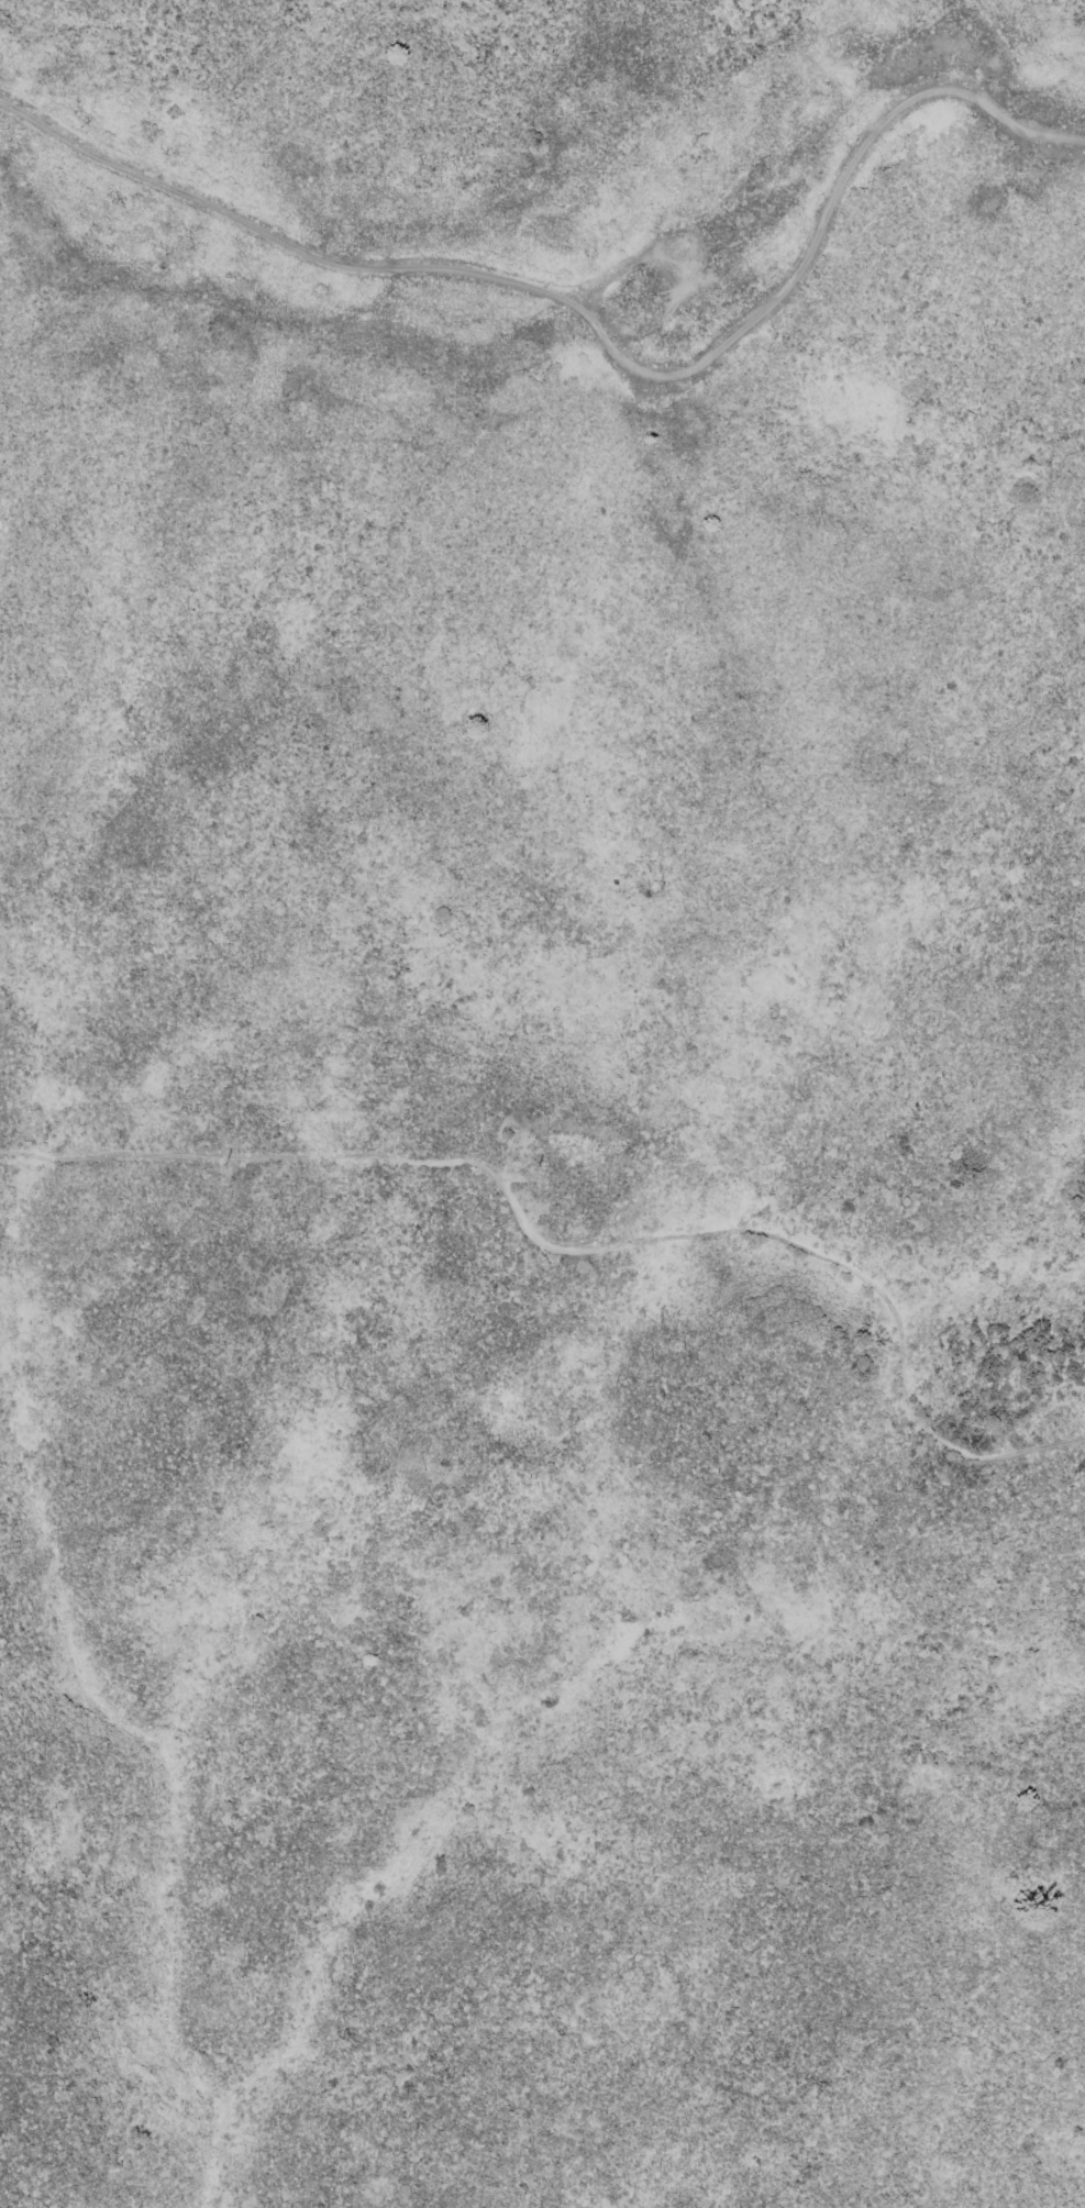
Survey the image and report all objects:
road: (599, 326)
road: (586, 1247)
park: (542, 1682)

